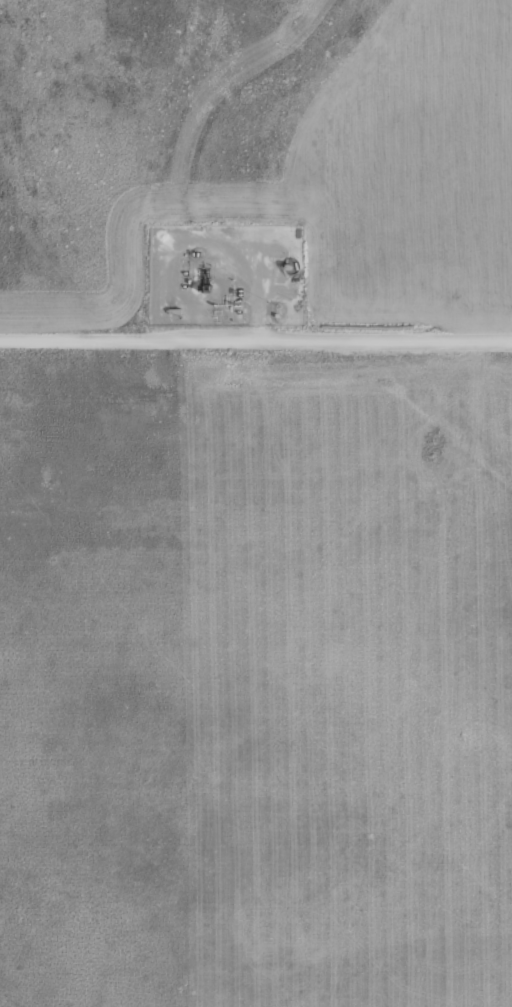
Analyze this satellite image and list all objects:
road: (255, 340)

